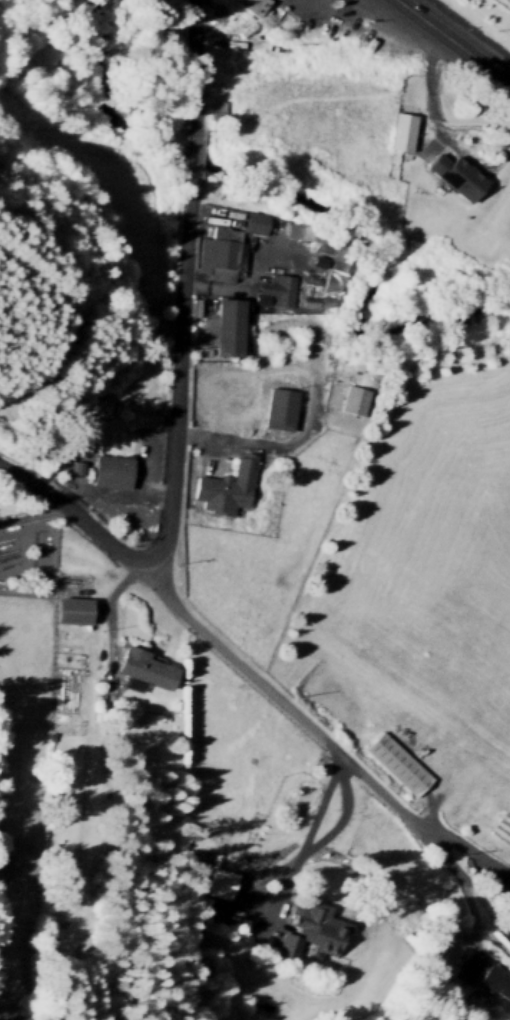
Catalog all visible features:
road: (293, 0)
building: (251, 5)
crop: (503, 5)
parking lot: (354, 21)
road: (378, 21)
road: (453, 42)
road: (194, 60)
building: (216, 108)
building: (401, 129)
road: (456, 152)
road: (191, 155)
building: (463, 183)
building: (204, 213)
building: (237, 215)
building: (262, 221)
building: (297, 228)
building: (274, 238)
building: (273, 249)
building: (219, 251)
building: (288, 254)
building: (275, 263)
building: (339, 264)
building: (299, 273)
road: (239, 286)
building: (277, 288)
road: (33, 295)
building: (223, 322)
road: (176, 388)
building: (353, 397)
building: (279, 405)
road: (271, 446)
building: (103, 468)
building: (226, 485)
road: (87, 486)
road: (125, 489)
road: (151, 490)
road: (91, 491)
road: (32, 512)
road: (146, 551)
building: (70, 607)
road: (110, 623)
road: (203, 632)
building: (143, 668)
building: (397, 761)
road: (341, 816)
road: (416, 824)
road: (306, 833)
building: (217, 880)
road: (254, 902)
road: (276, 904)
building: (218, 909)
building: (232, 912)
building: (508, 919)
building: (316, 922)
road: (492, 934)
building: (286, 943)
building: (468, 965)
building: (202, 968)
building: (495, 978)

